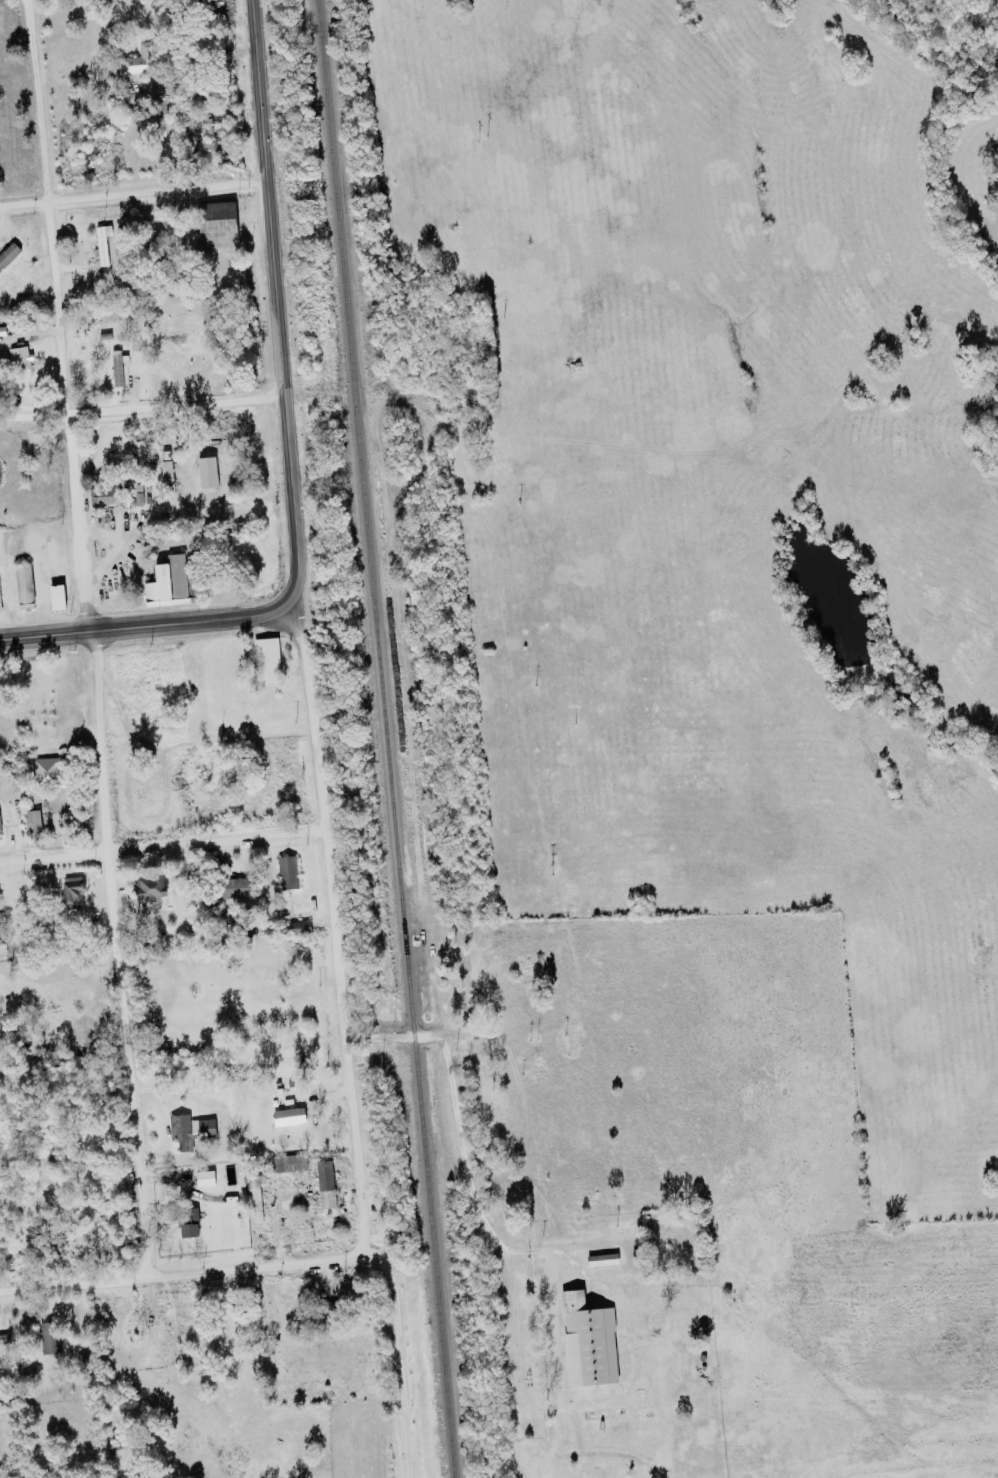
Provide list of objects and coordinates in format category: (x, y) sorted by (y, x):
building: (140, 62)
road: (130, 193)
building: (219, 225)
building: (104, 248)
building: (9, 255)
building: (21, 358)
building: (119, 368)
road: (317, 395)
road: (140, 408)
road: (284, 444)
building: (209, 473)
building: (169, 476)
building: (105, 496)
building: (25, 583)
building: (169, 583)
building: (59, 597)
building: (0, 600)
road: (87, 638)
building: (268, 659)
road: (307, 715)
railway: (386, 738)
building: (50, 772)
building: (0, 822)
building: (34, 822)
road: (160, 845)
building: (289, 872)
building: (151, 887)
building: (236, 887)
building: (74, 891)
building: (301, 927)
road: (378, 1037)
road: (342, 1039)
building: (291, 1117)
building: (191, 1130)
building: (290, 1163)
building: (207, 1178)
building: (327, 1184)
building: (257, 1199)
building: (192, 1223)
building: (604, 1260)
road: (254, 1268)
building: (51, 1338)
building: (5, 1339)
building: (590, 1342)

